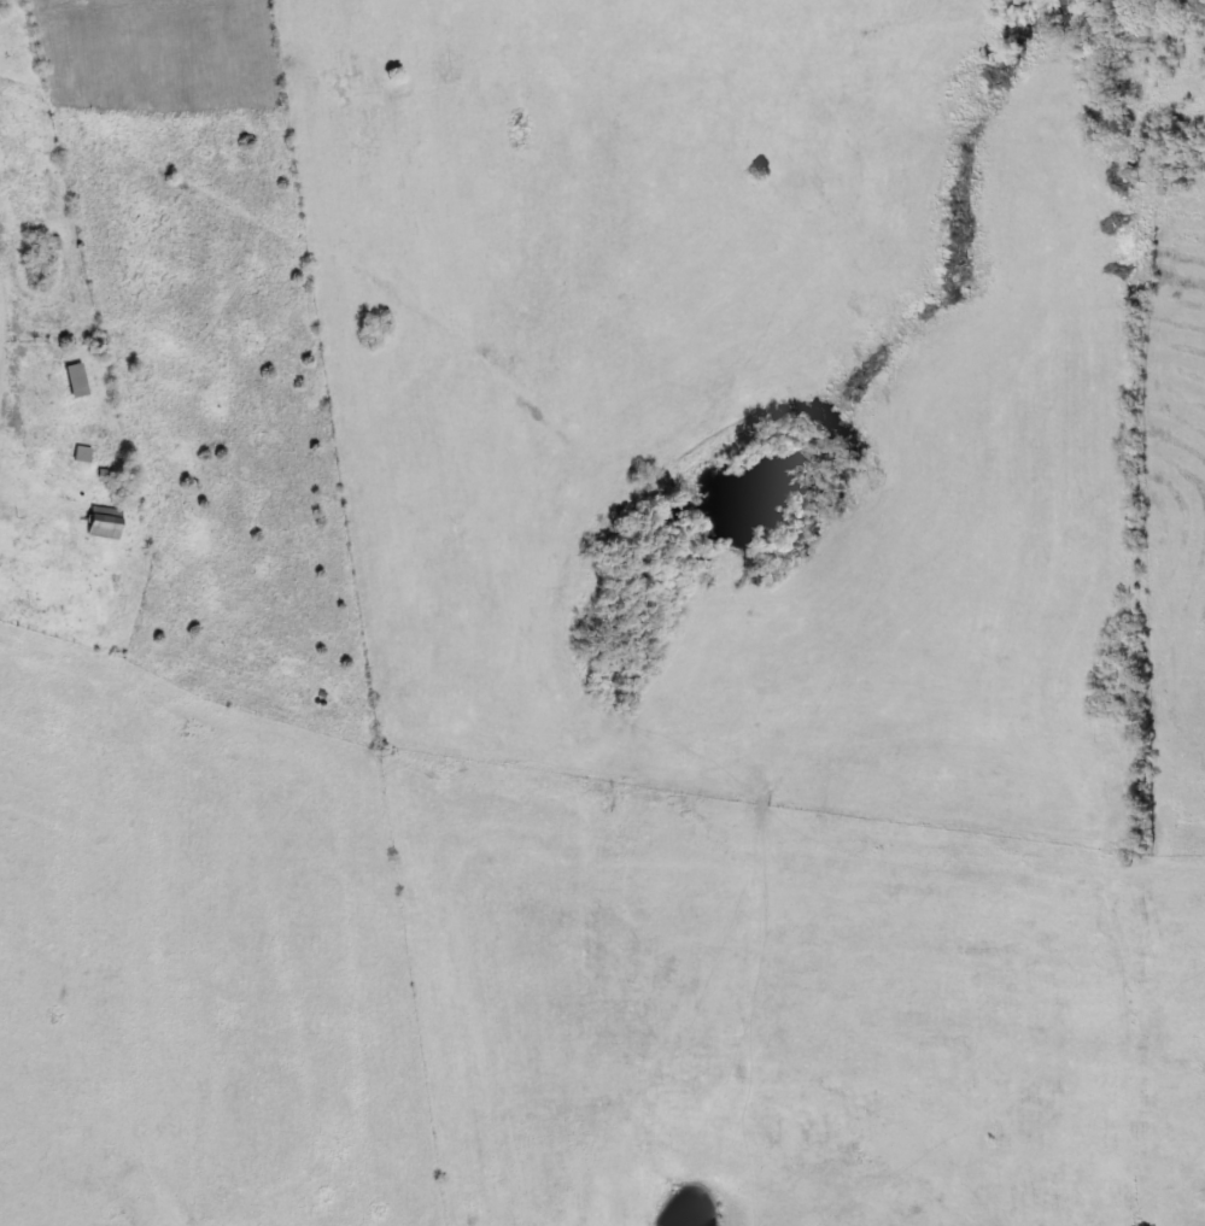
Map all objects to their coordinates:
building: (80, 381)
building: (109, 523)
road: (523, 821)

